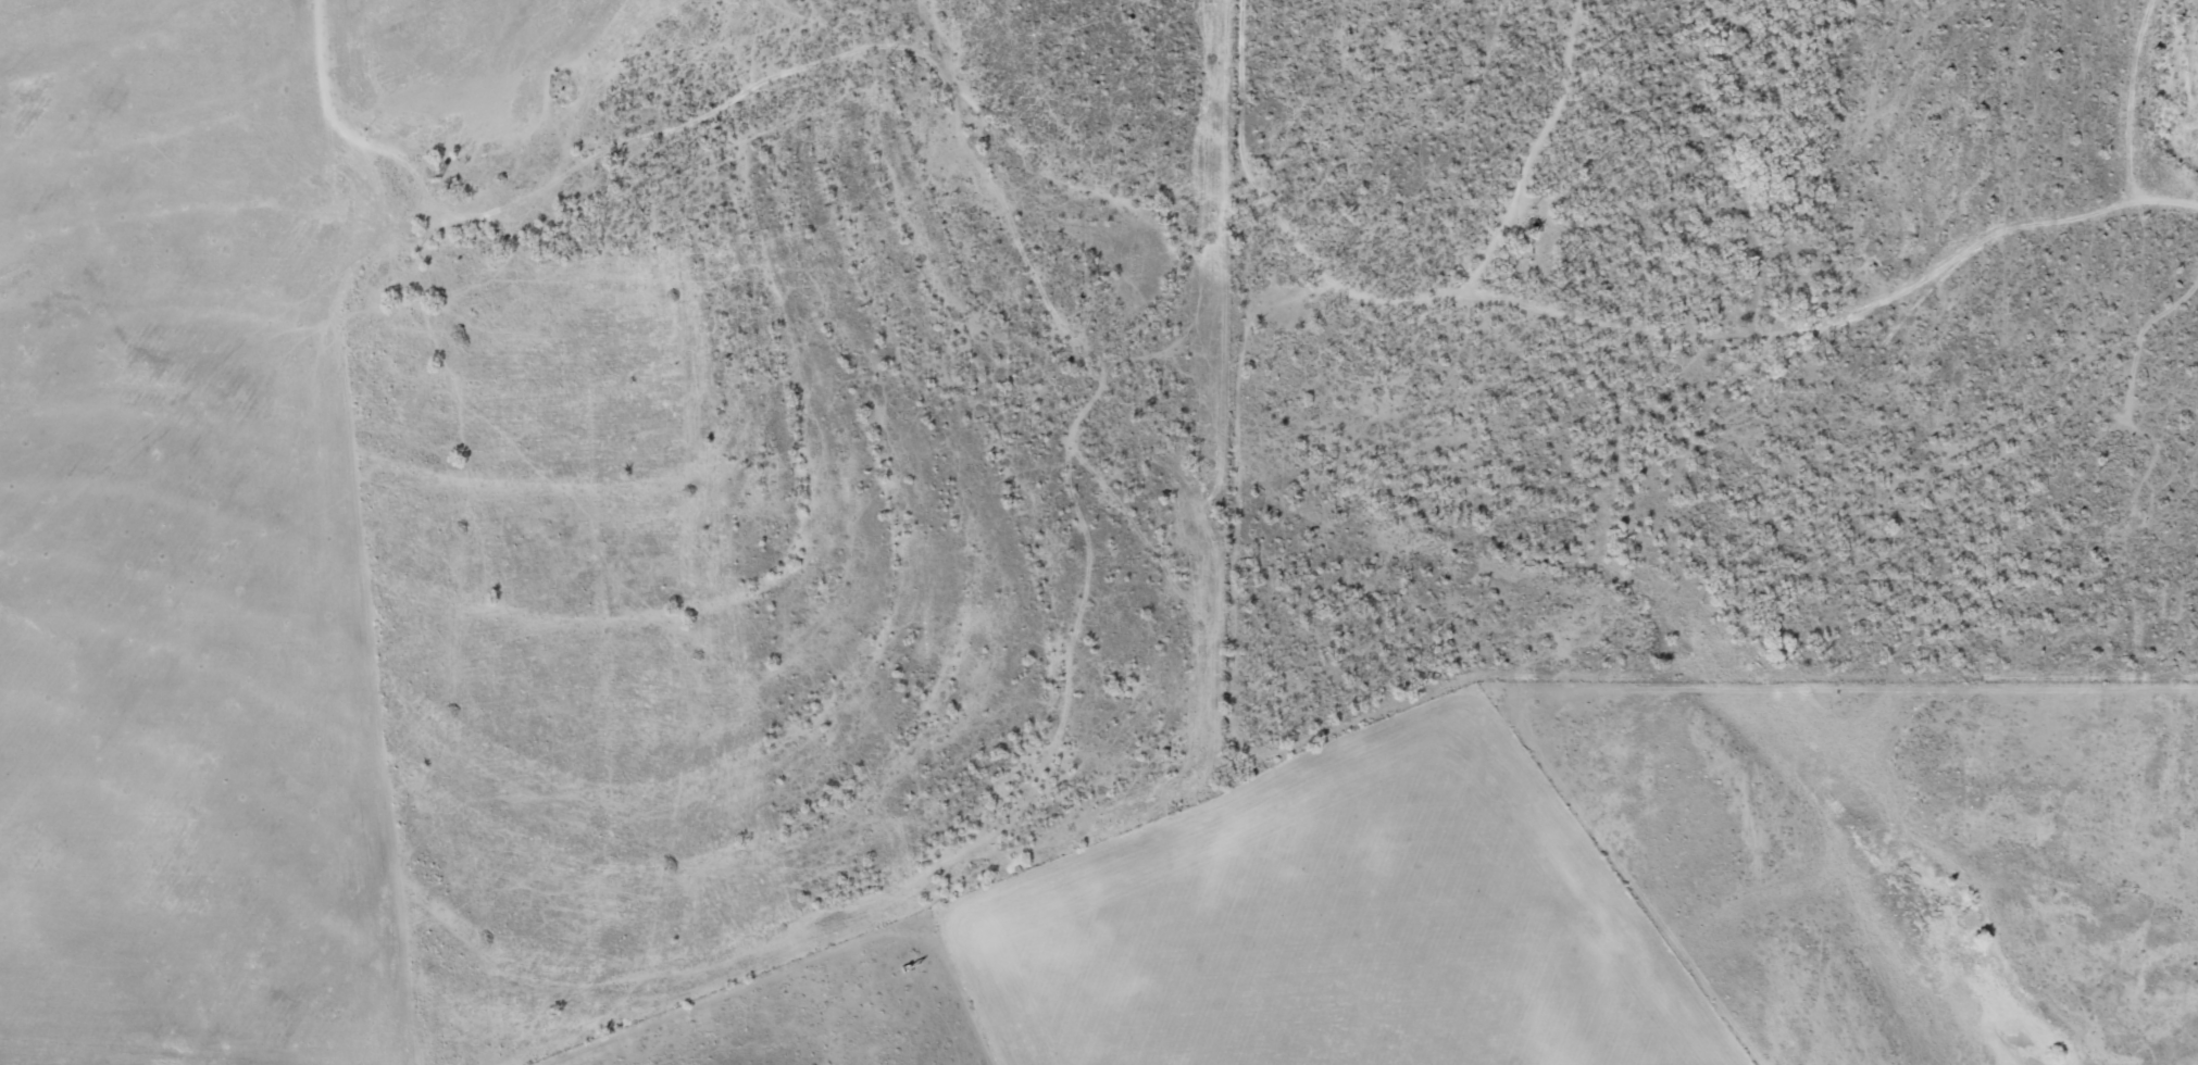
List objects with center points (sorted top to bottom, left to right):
road: (534, 233)
road: (1833, 331)

